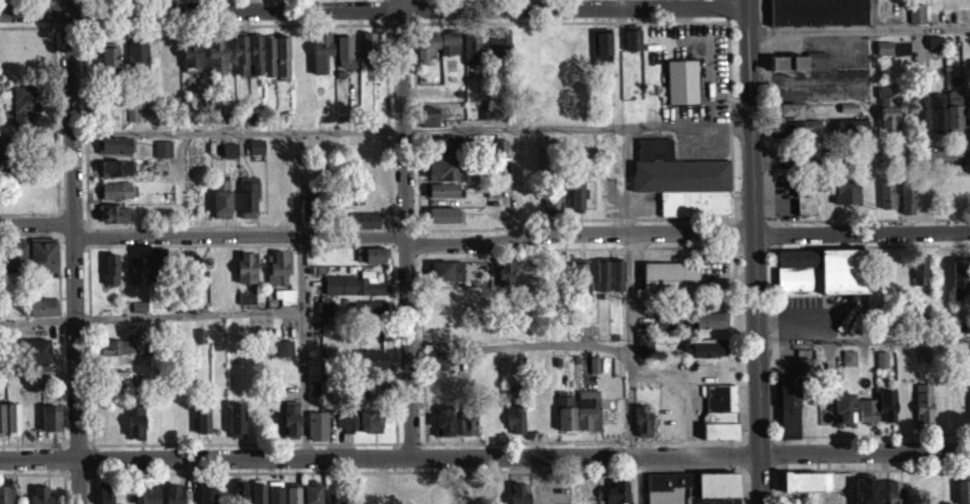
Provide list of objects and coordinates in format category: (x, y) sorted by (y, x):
road: (618, 3)
road: (1, 6)
road: (373, 9)
road: (53, 12)
road: (871, 13)
building: (817, 16)
building: (916, 21)
road: (33, 24)
road: (858, 26)
building: (498, 47)
building: (632, 47)
building: (367, 50)
building: (934, 50)
building: (425, 51)
building: (449, 51)
building: (600, 52)
building: (884, 55)
building: (471, 57)
building: (343, 58)
building: (320, 59)
building: (216, 60)
building: (136, 62)
building: (239, 62)
building: (261, 63)
building: (190, 64)
building: (108, 66)
road: (768, 69)
building: (800, 70)
building: (681, 89)
building: (25, 103)
road: (69, 111)
road: (397, 114)
building: (886, 117)
building: (966, 117)
building: (953, 118)
building: (131, 122)
building: (938, 122)
building: (920, 123)
road: (56, 124)
building: (242, 124)
building: (427, 124)
building: (798, 125)
building: (851, 134)
road: (870, 137)
building: (4, 147)
building: (112, 153)
road: (861, 153)
building: (254, 154)
building: (162, 156)
building: (654, 156)
building: (228, 158)
road: (861, 171)
building: (10, 172)
building: (158, 174)
building: (444, 175)
building: (115, 176)
building: (219, 192)
building: (685, 193)
building: (443, 197)
building: (924, 197)
building: (118, 198)
building: (845, 199)
building: (246, 202)
building: (576, 202)
building: (885, 202)
building: (553, 205)
building: (906, 205)
building: (804, 207)
building: (220, 211)
road: (36, 212)
road: (861, 217)
building: (112, 221)
building: (443, 222)
road: (36, 224)
building: (366, 228)
road: (29, 231)
road: (684, 231)
road: (236, 234)
road: (861, 243)
road: (405, 248)
road: (754, 251)
building: (14, 254)
building: (44, 255)
building: (370, 262)
building: (185, 269)
building: (921, 269)
building: (821, 270)
building: (143, 275)
building: (277, 275)
building: (110, 276)
building: (245, 276)
building: (961, 277)
building: (447, 278)
building: (504, 279)
building: (601, 282)
building: (615, 282)
building: (578, 283)
building: (668, 287)
building: (353, 293)
building: (245, 304)
building: (285, 304)
building: (44, 306)
road: (188, 313)
building: (42, 314)
building: (139, 314)
building: (323, 317)
building: (368, 317)
road: (37, 319)
building: (923, 323)
building: (11, 328)
building: (662, 328)
building: (710, 328)
road: (863, 338)
road: (403, 340)
road: (303, 344)
building: (35, 350)
building: (924, 350)
building: (642, 351)
building: (116, 355)
building: (284, 356)
building: (704, 356)
road: (76, 363)
road: (61, 364)
building: (848, 365)
building: (370, 367)
building: (881, 367)
building: (439, 369)
building: (38, 370)
building: (593, 372)
building: (41, 379)
building: (3, 381)
building: (118, 385)
building: (371, 398)
building: (962, 404)
building: (791, 406)
building: (923, 410)
building: (886, 412)
building: (843, 416)
building: (2, 417)
building: (14, 418)
building: (52, 418)
building: (586, 418)
building: (866, 419)
building: (564, 421)
building: (202, 426)
building: (513, 426)
building: (235, 427)
building: (290, 427)
building: (442, 428)
building: (642, 428)
building: (358, 429)
building: (135, 430)
building: (463, 432)
road: (864, 432)
building: (317, 433)
road: (39, 442)
road: (484, 451)
road: (927, 465)
road: (39, 471)
road: (885, 475)
road: (634, 477)
building: (805, 489)
building: (691, 492)
building: (865, 494)
building: (8, 495)
building: (40, 495)
building: (239, 495)
building: (257, 495)
building: (274, 496)
building: (617, 496)
building: (894, 496)
building: (962, 496)
building: (173, 497)
building: (206, 497)
building: (311, 497)
building: (517, 497)
building: (576, 497)
building: (105, 498)
building: (334, 498)
building: (149, 499)
building: (292, 499)

